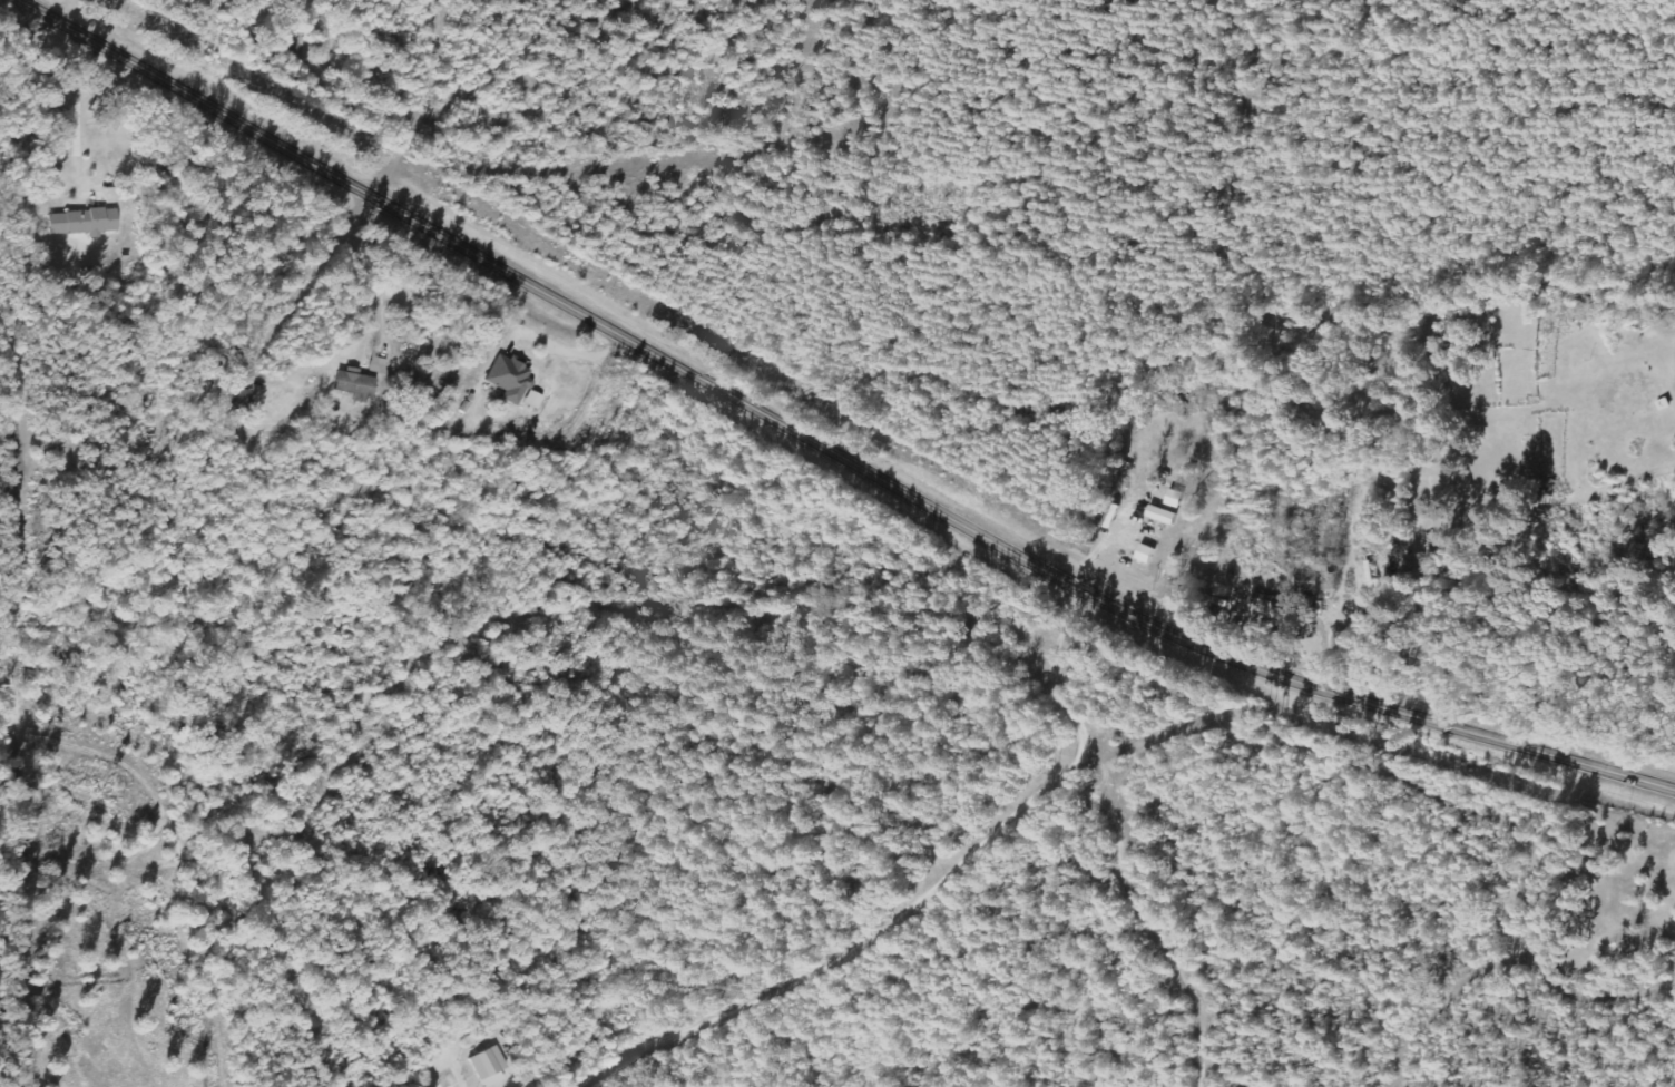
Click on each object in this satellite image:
building: (82, 223)
building: (376, 365)
building: (508, 379)
building: (352, 383)
road: (830, 449)
road: (28, 547)
building: (488, 1067)

